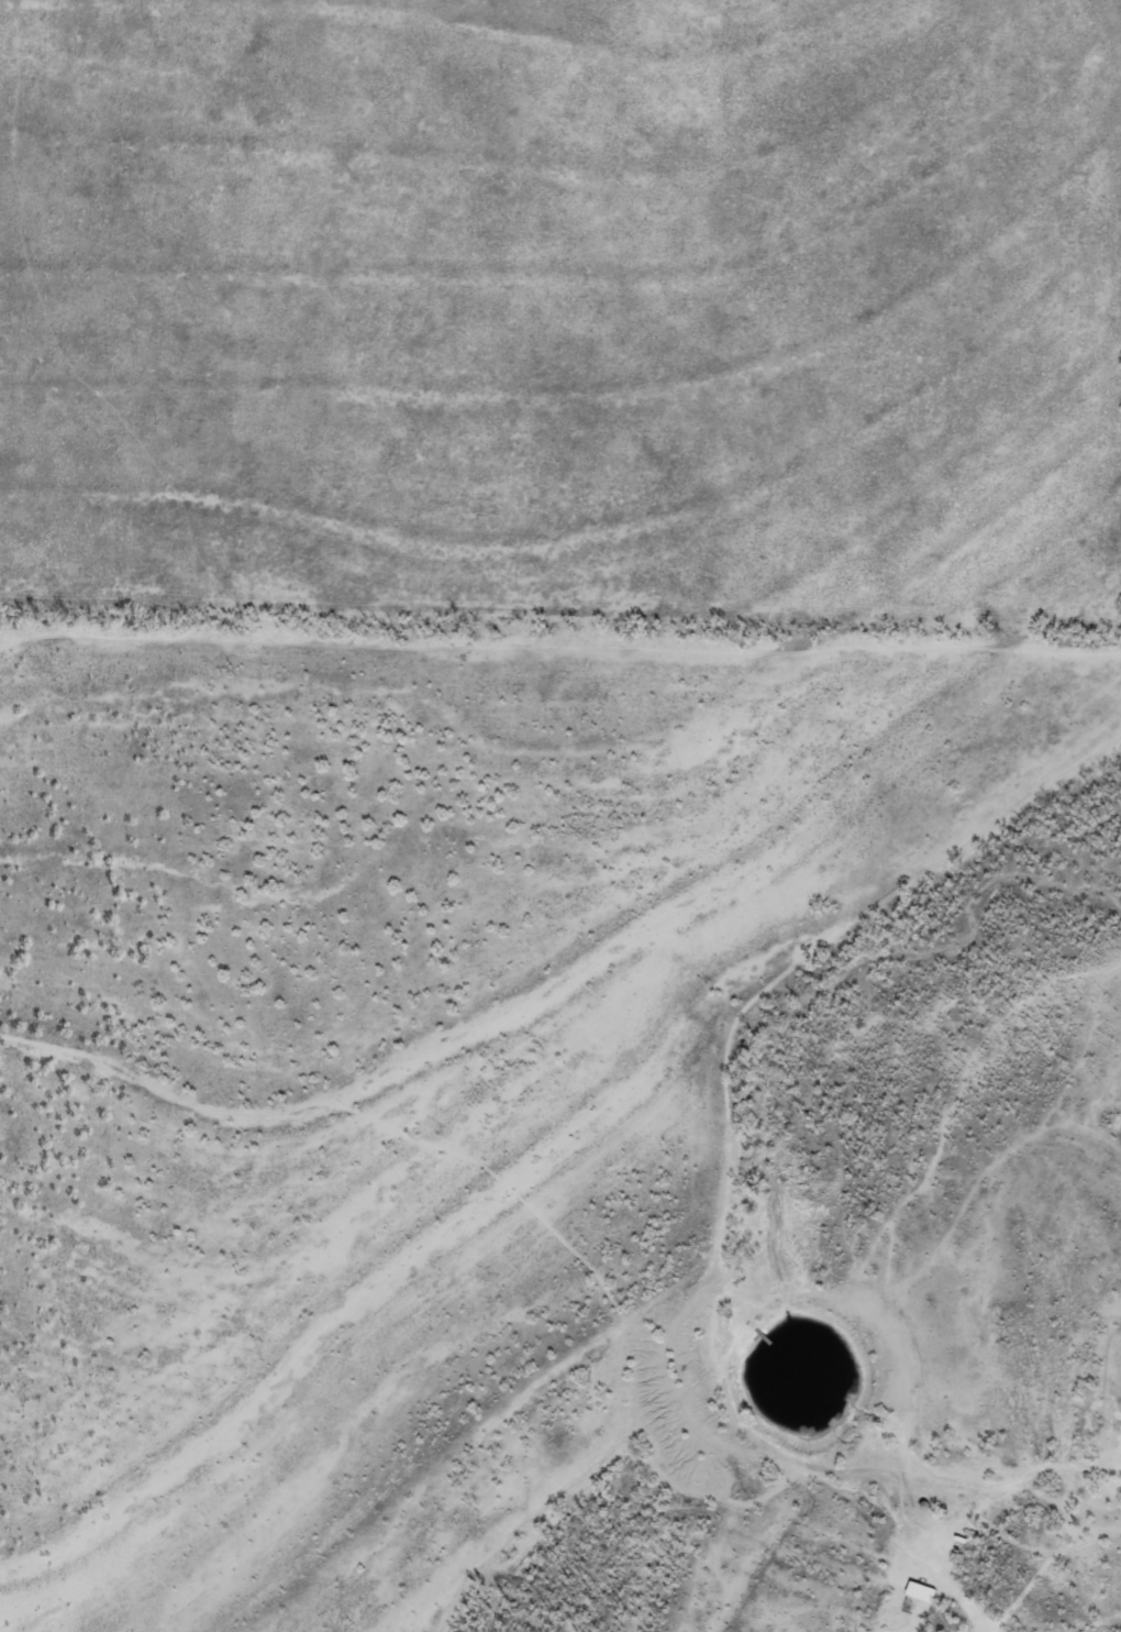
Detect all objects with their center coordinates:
building: (921, 1590)

